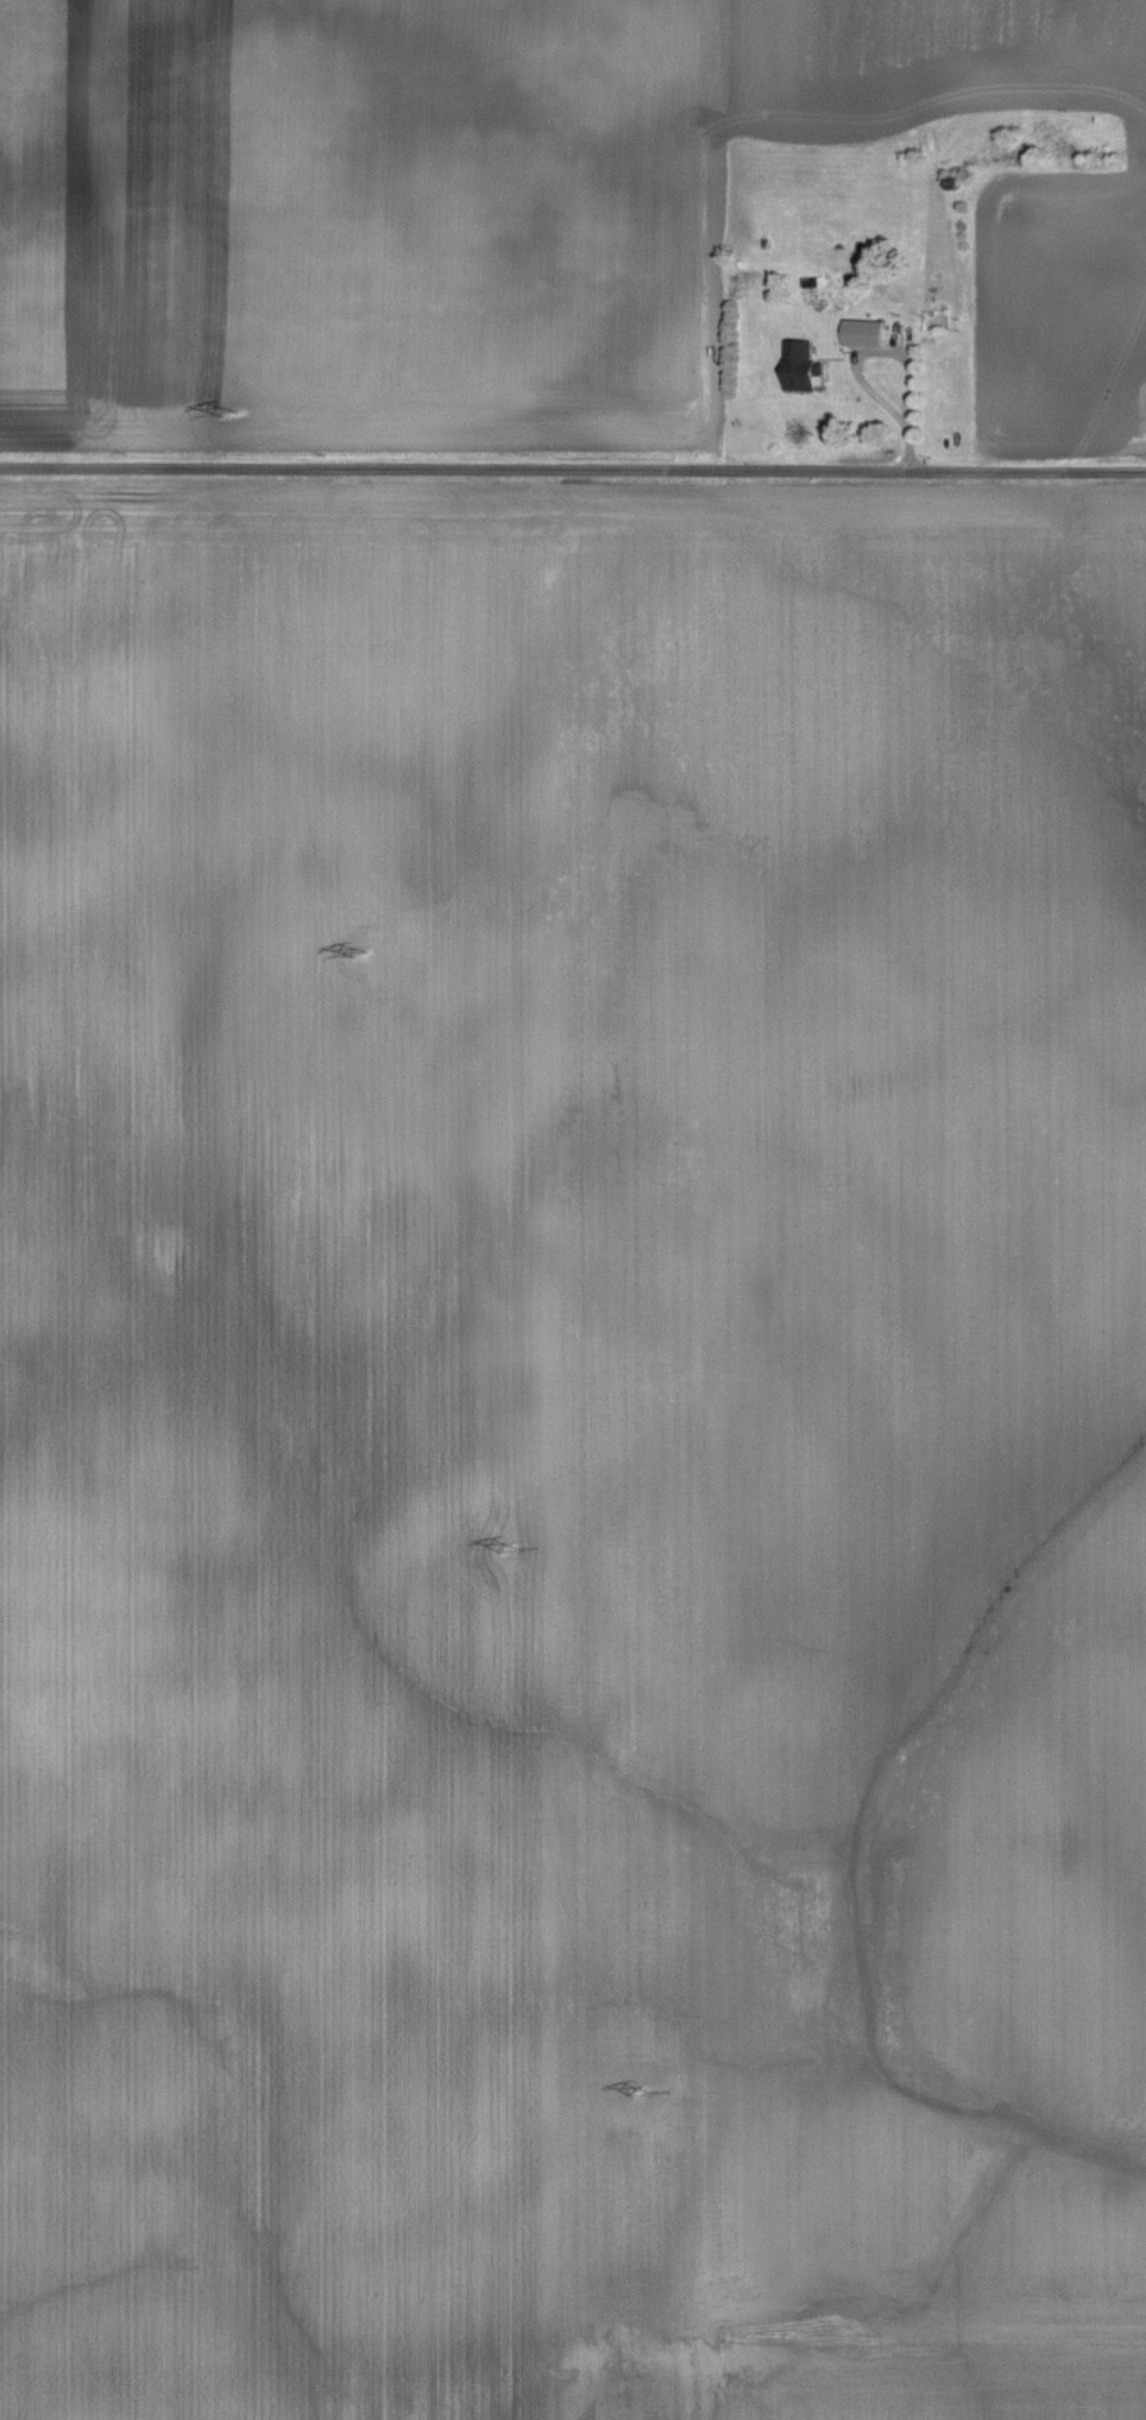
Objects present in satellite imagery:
building: (871, 334)
road: (894, 353)
building: (808, 367)
power tower: (228, 414)
road: (572, 470)
power tower: (360, 953)
power tower: (505, 1547)
power tower: (636, 2089)

